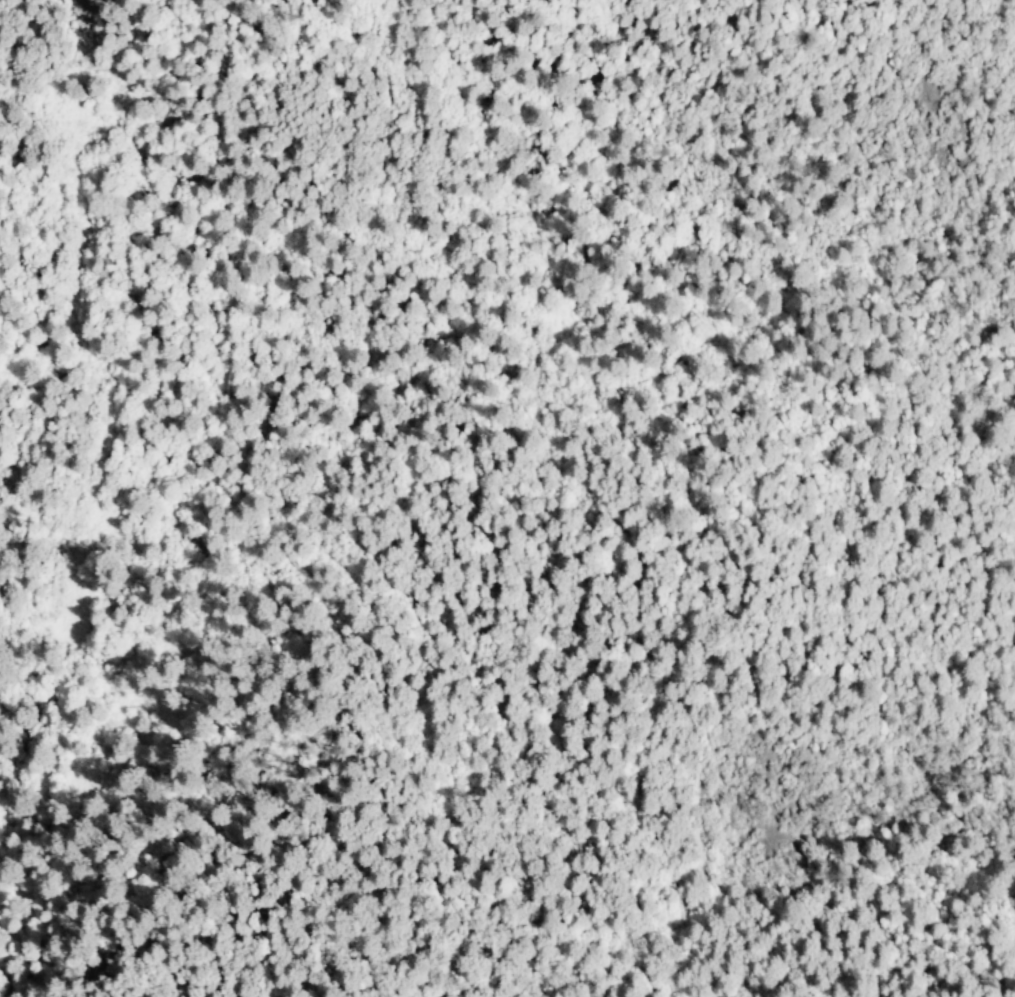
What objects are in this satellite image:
road: (22, 37)

